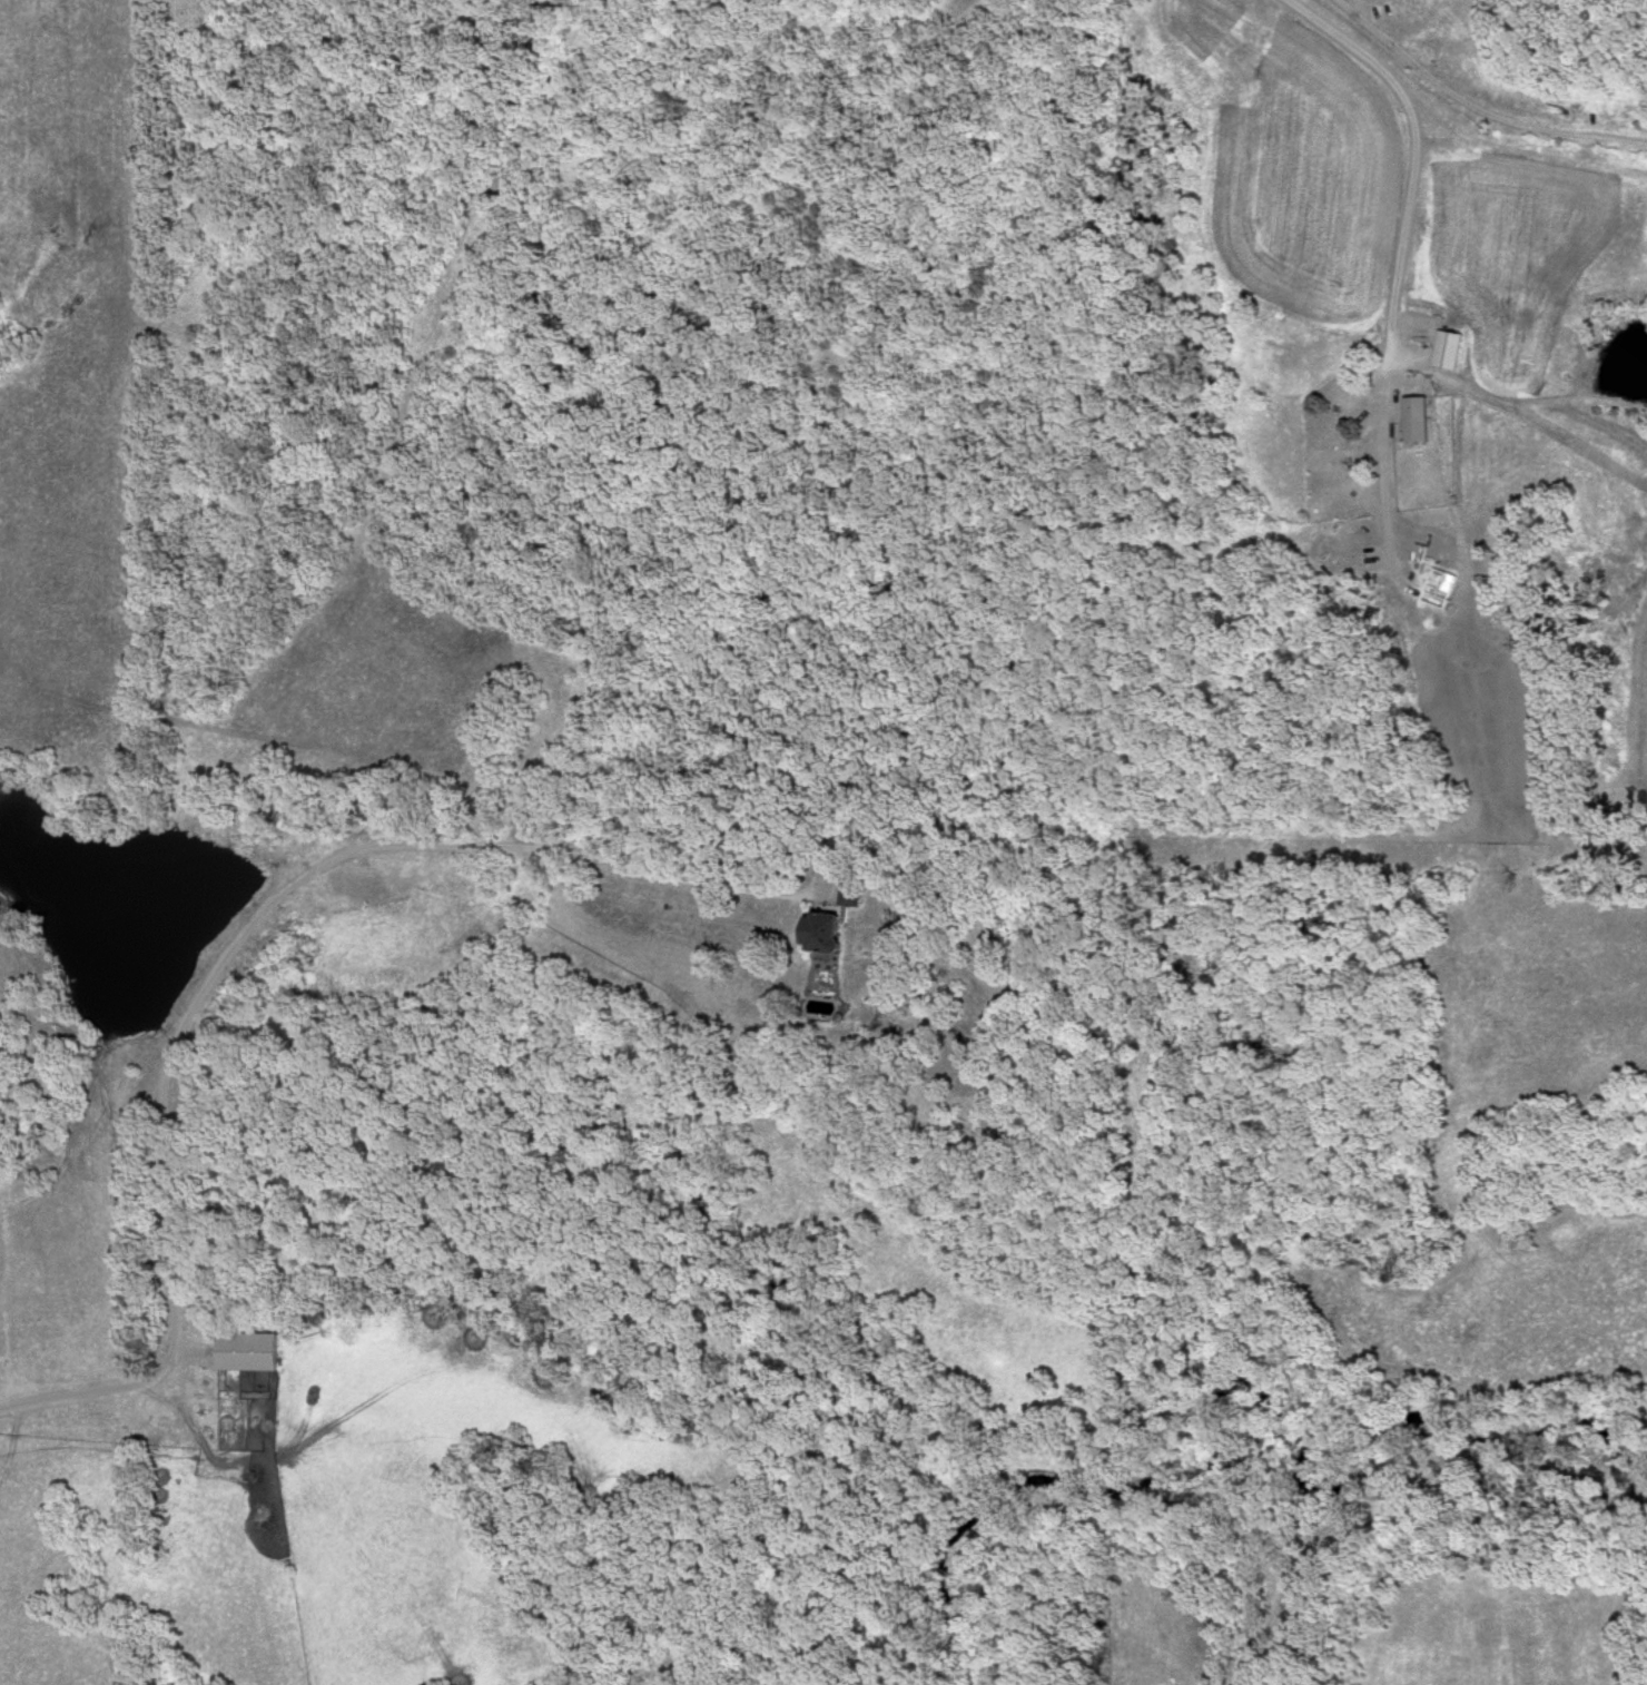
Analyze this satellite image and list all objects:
road: (1477, 102)
road: (1414, 152)
building: (1444, 353)
building: (1413, 421)
building: (851, 893)
building: (823, 932)
road: (245, 937)
building: (246, 1351)

